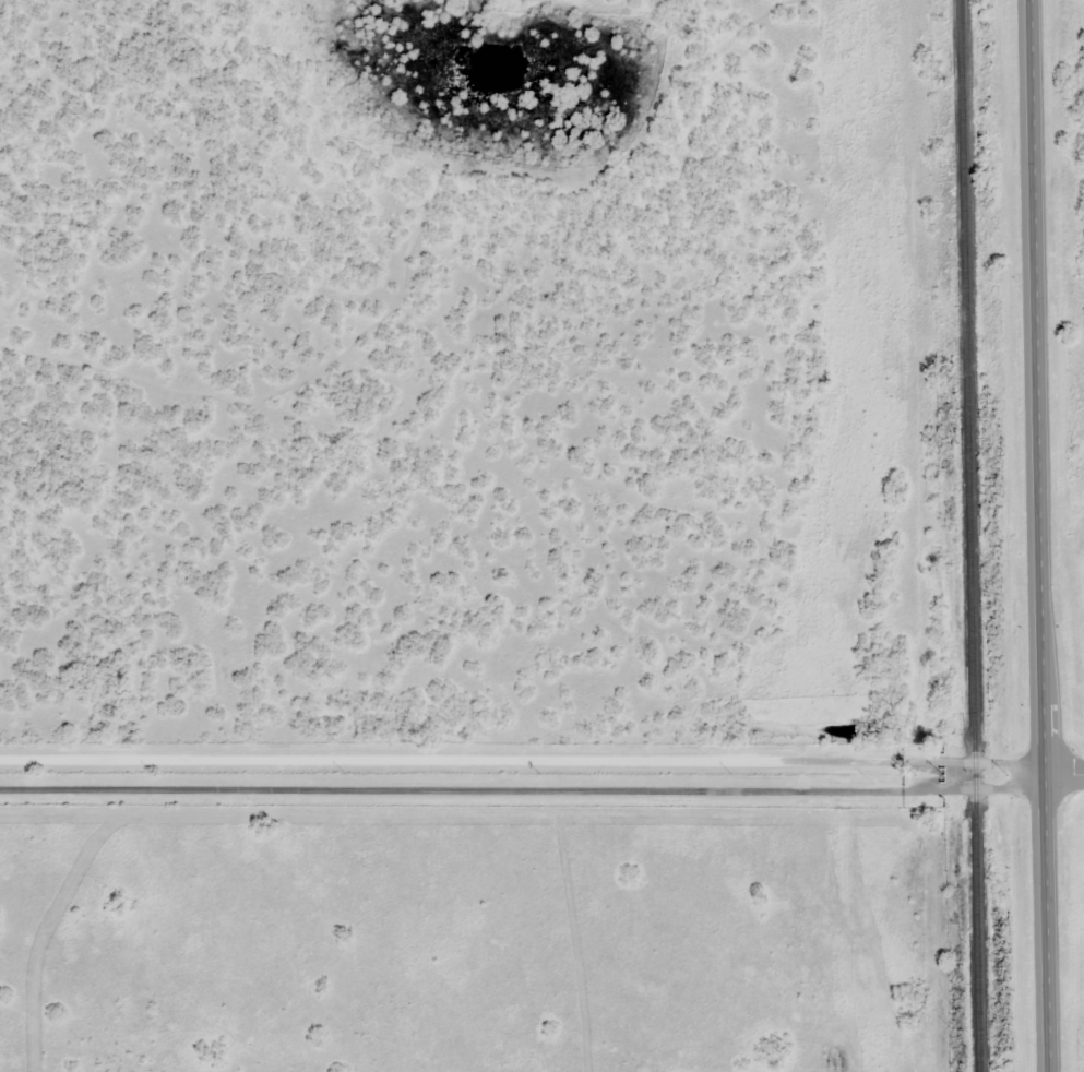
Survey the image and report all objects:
road: (919, 396)
railway: (973, 535)
road: (1044, 536)
road: (524, 764)
road: (1067, 775)
road: (525, 793)

